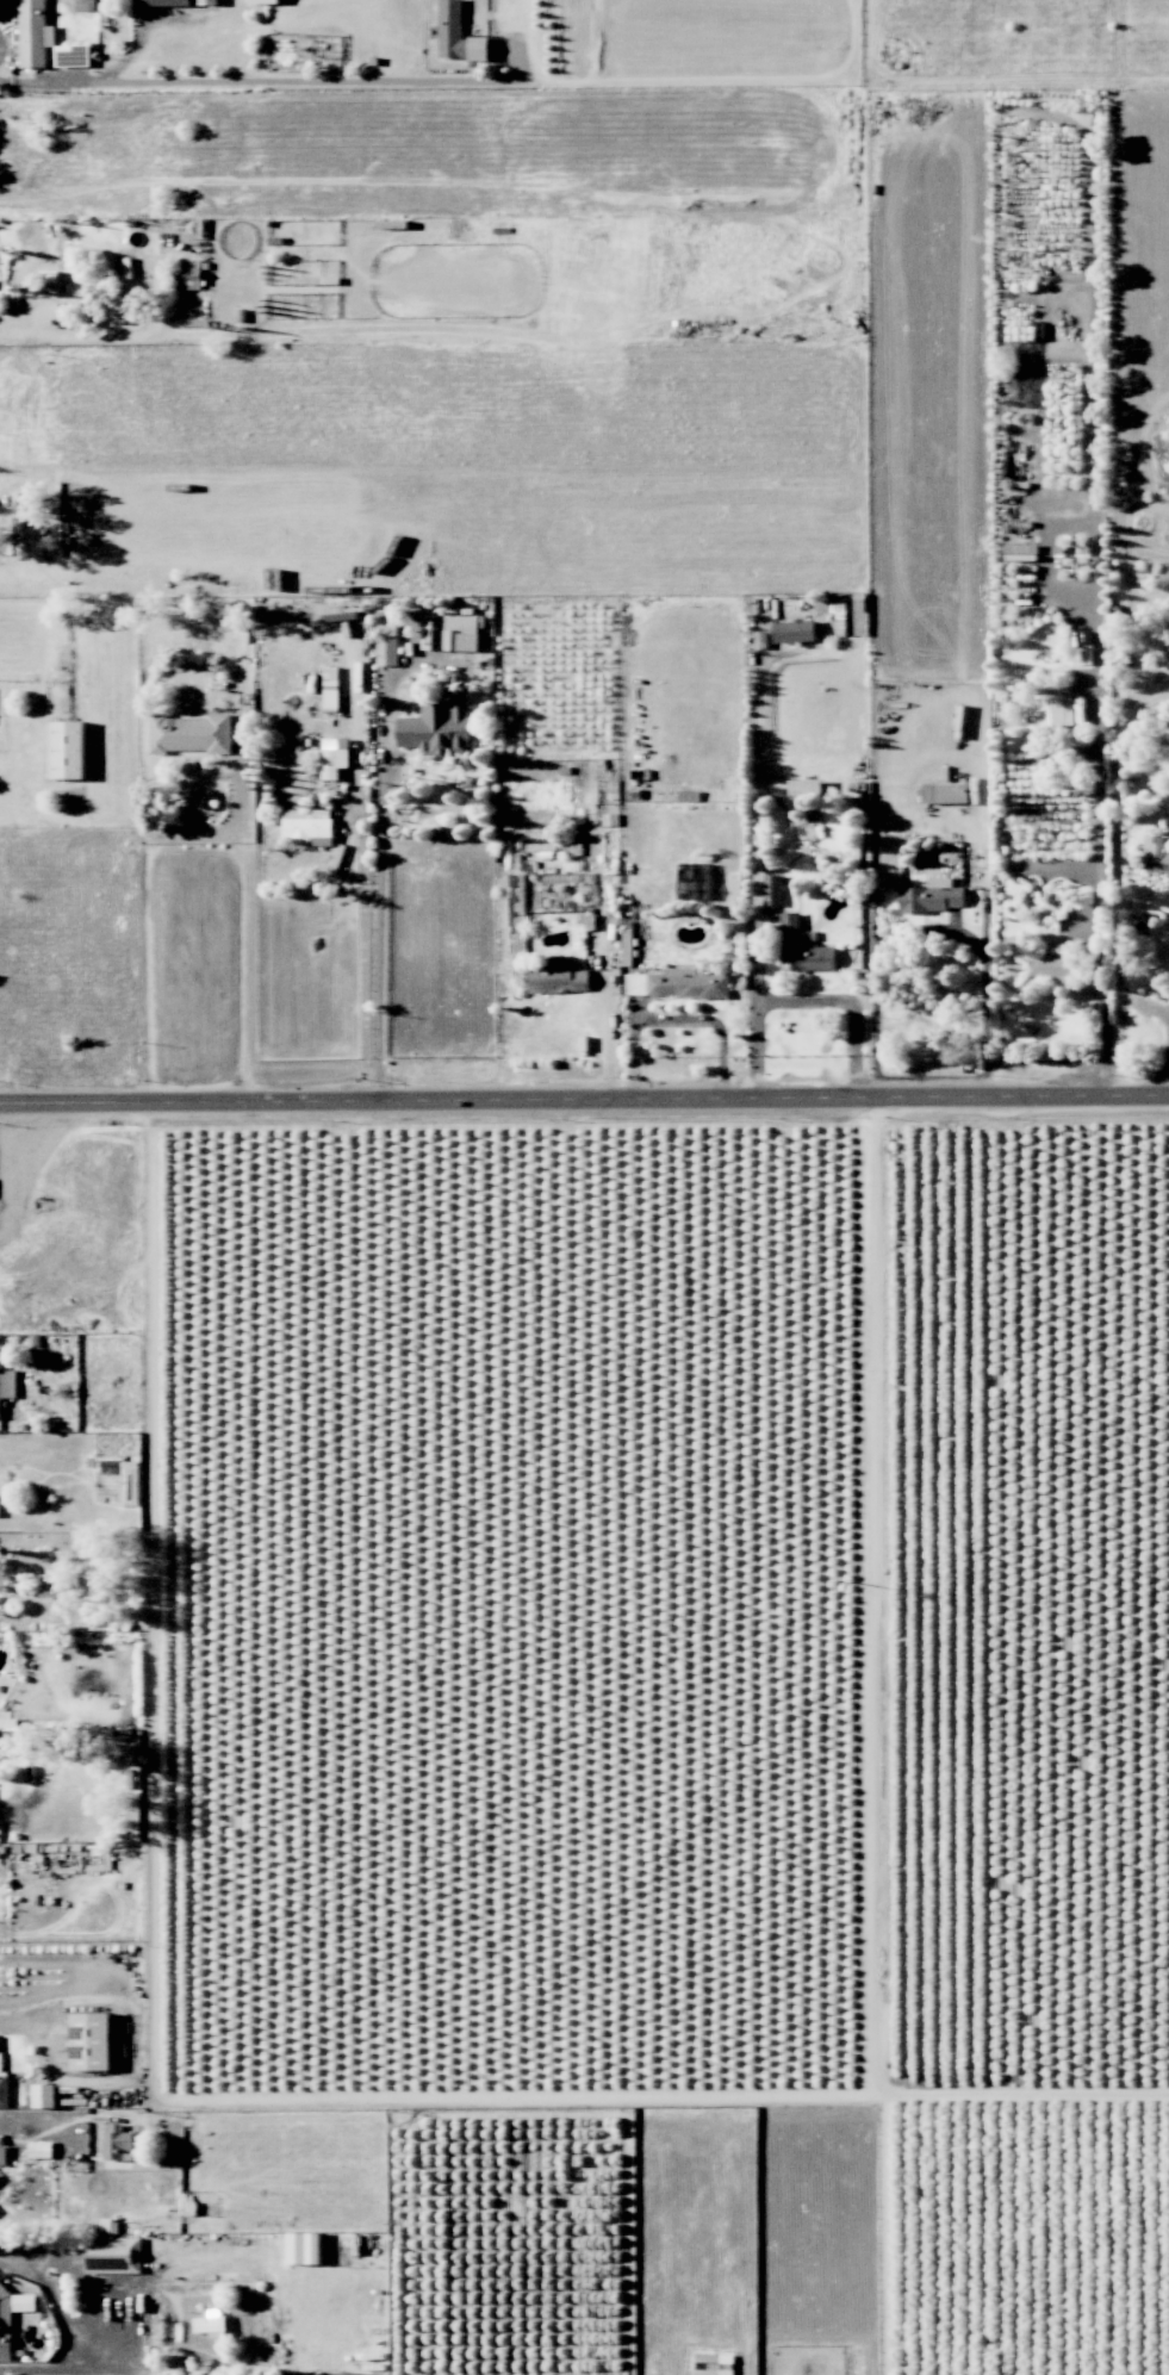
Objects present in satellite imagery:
building: (263, 1)
building: (166, 2)
building: (207, 5)
building: (33, 33)
building: (458, 33)
road: (225, 82)
building: (185, 274)
building: (49, 275)
road: (105, 335)
building: (794, 632)
building: (450, 633)
building: (760, 640)
building: (387, 645)
building: (330, 688)
building: (436, 729)
building: (191, 733)
building: (67, 750)
building: (334, 756)
building: (804, 787)
building: (945, 792)
road: (1098, 798)
building: (309, 823)
building: (1156, 853)
building: (772, 889)
road: (380, 896)
building: (932, 896)
road: (243, 921)
road: (150, 925)
road: (928, 931)
building: (626, 946)
building: (801, 947)
building: (518, 950)
building: (1055, 964)
building: (556, 977)
building: (676, 983)
road: (1165, 1081)
road: (584, 1098)
road: (27, 1169)
building: (52, 1585)
building: (8, 1723)
road: (864, 1735)
building: (89, 2041)
building: (4, 2090)
building: (42, 2096)
road: (32, 2118)
building: (117, 2145)
building: (41, 2149)
building: (2, 2155)
building: (112, 2255)
road: (250, 2298)
road: (60, 2323)
building: (209, 2324)
building: (5, 2336)
building: (713, 2364)

